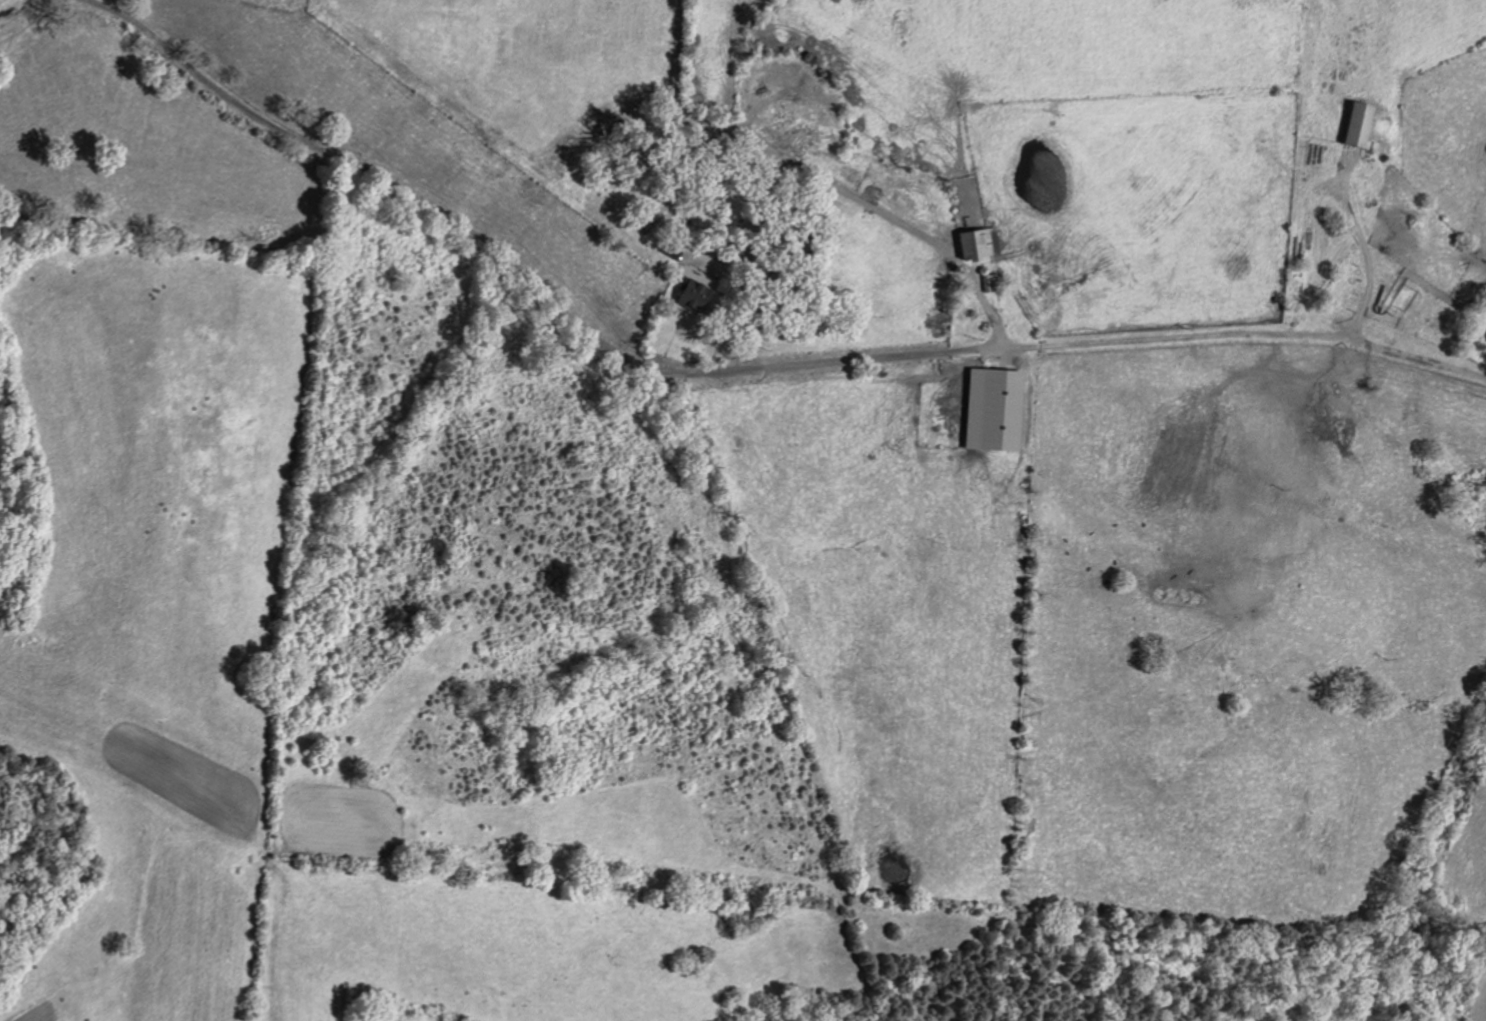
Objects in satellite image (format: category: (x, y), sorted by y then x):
building: (1354, 123)
road: (848, 167)
building: (973, 242)
road: (1366, 251)
building: (690, 295)
road: (736, 369)
building: (989, 408)

